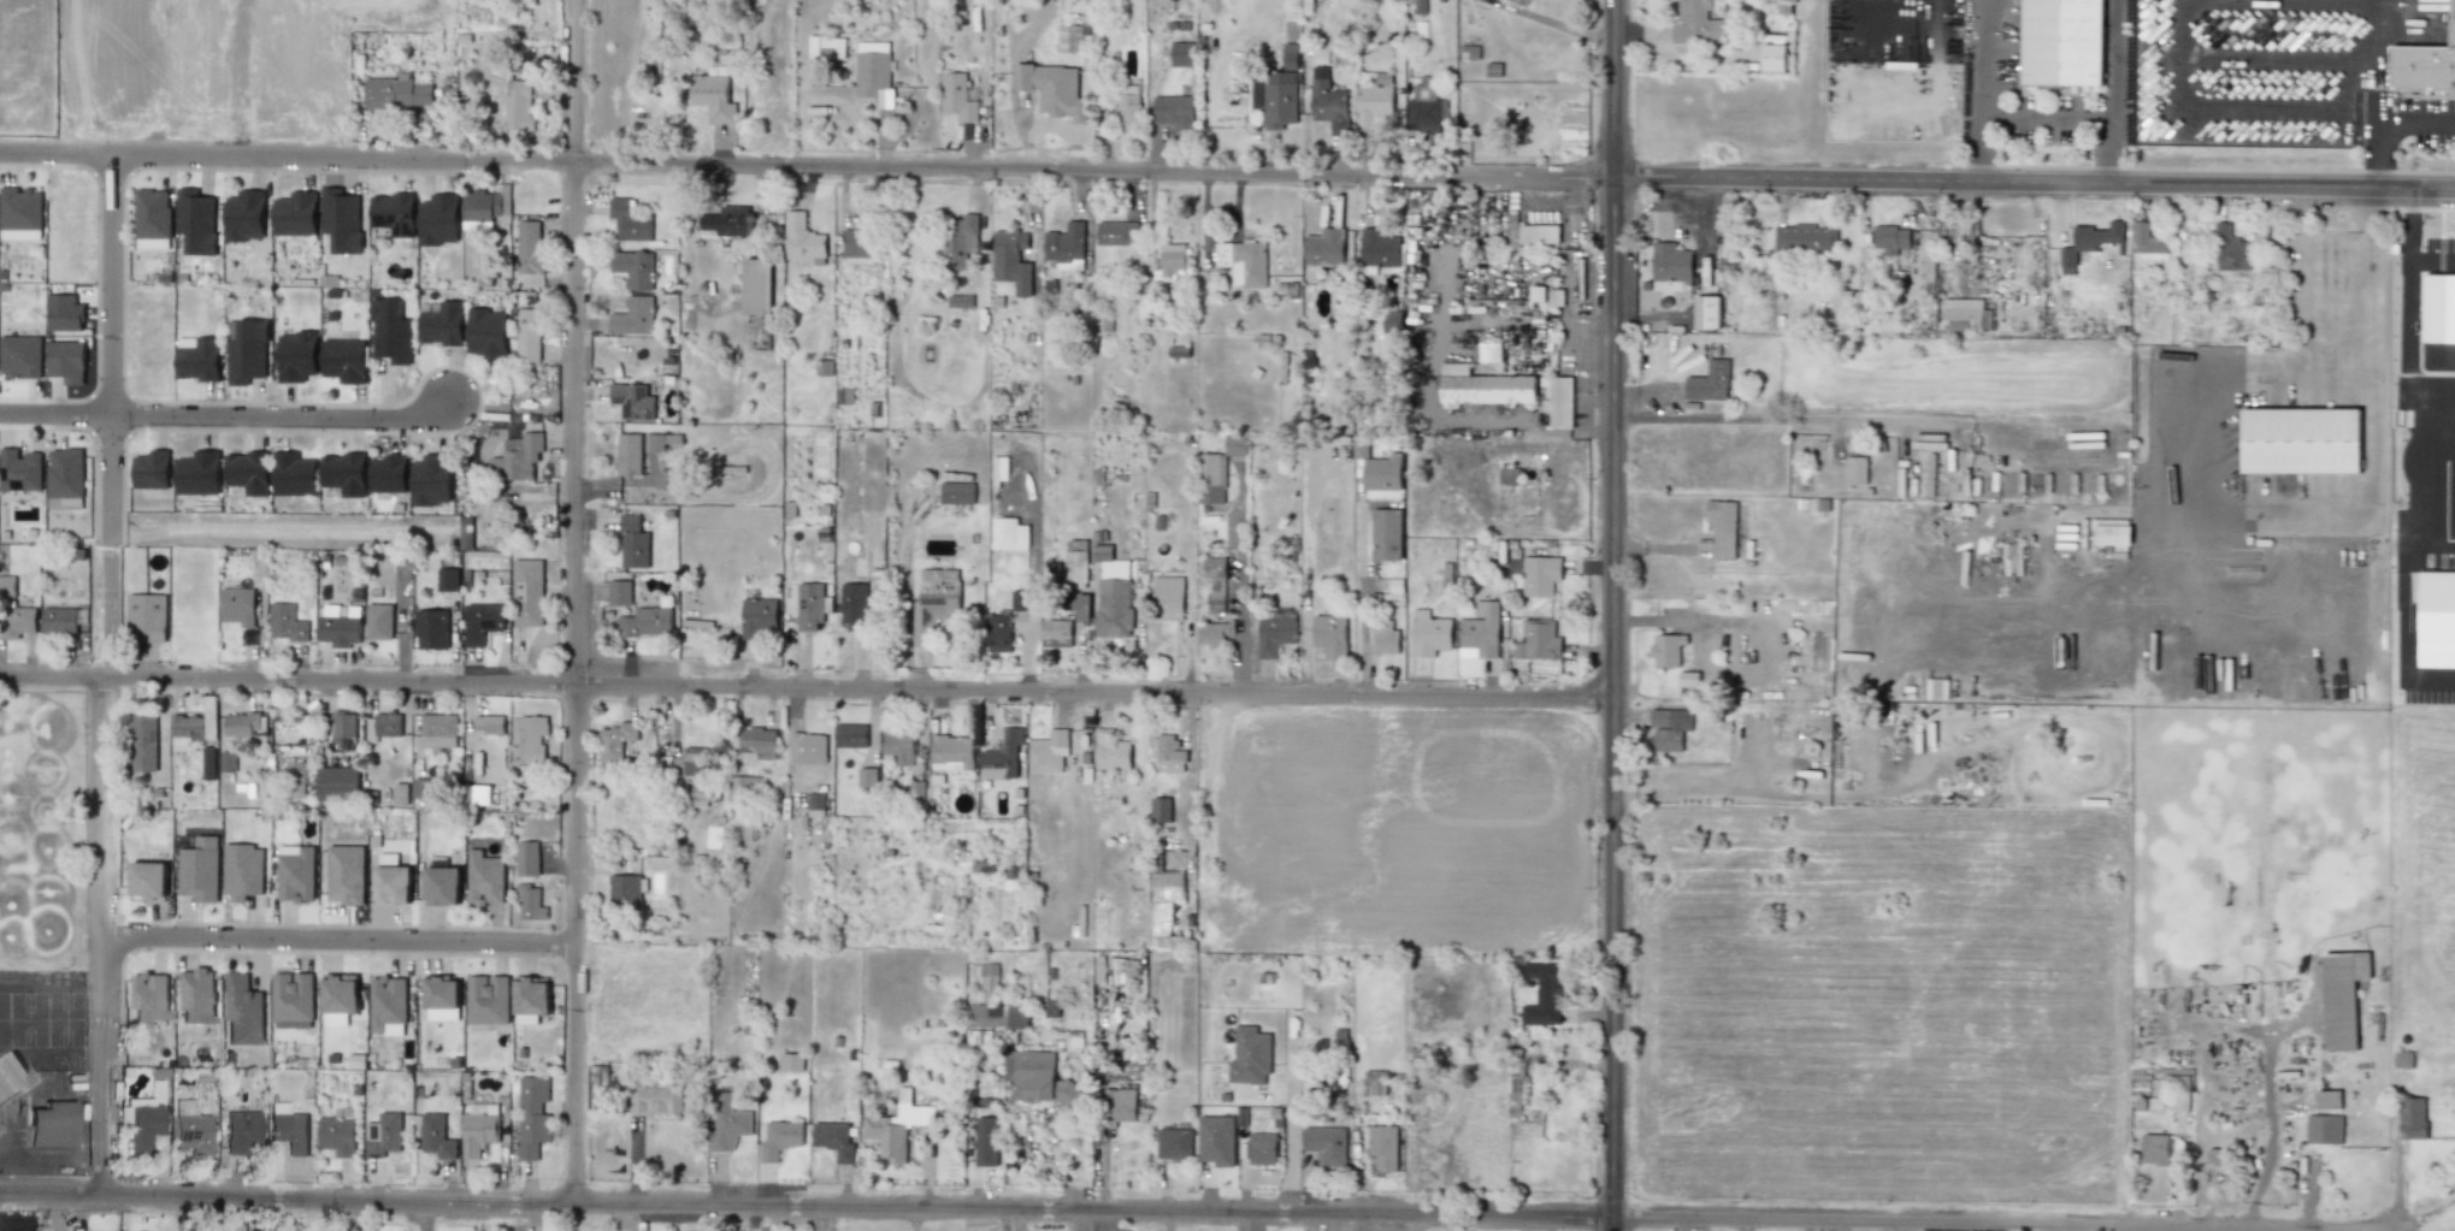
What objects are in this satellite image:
building: (2426, 13)
road: (1556, 22)
building: (1698, 23)
building: (1072, 37)
building: (2062, 42)
building: (836, 45)
road: (2174, 45)
road: (2372, 48)
building: (1181, 53)
building: (1774, 54)
building: (1288, 55)
road: (2271, 55)
road: (1979, 58)
road: (2115, 59)
building: (2425, 65)
building: (869, 75)
road: (2379, 78)
building: (1052, 88)
building: (397, 91)
road: (2260, 93)
building: (713, 96)
building: (956, 96)
building: (1279, 99)
building: (1373, 101)
building: (518, 105)
building: (1128, 106)
building: (1329, 106)
building: (1424, 107)
building: (1174, 111)
road: (2047, 117)
road: (2383, 122)
road: (1979, 148)
road: (2106, 149)
road: (1227, 170)
building: (484, 205)
building: (20, 209)
building: (295, 213)
building: (394, 213)
building: (244, 215)
building: (152, 218)
building: (341, 219)
building: (438, 219)
building: (196, 220)
building: (628, 220)
building: (727, 220)
building: (1116, 232)
building: (1532, 232)
building: (1805, 237)
building: (802, 238)
road: (1218, 238)
building: (1890, 238)
building: (958, 239)
building: (2089, 242)
building: (858, 243)
building: (1066, 245)
building: (530, 247)
building: (1323, 247)
building: (2148, 248)
building: (2231, 249)
building: (1170, 258)
building: (1011, 260)
building: (1243, 261)
building: (1670, 261)
building: (633, 268)
building: (757, 286)
road: (110, 288)
building: (1536, 292)
building: (1841, 308)
building: (1706, 312)
road: (2408, 312)
building: (64, 313)
building: (1965, 314)
building: (633, 315)
building: (1392, 320)
building: (442, 324)
building: (390, 331)
building: (486, 332)
building: (527, 335)
building: (246, 350)
building: (1489, 351)
building: (20, 355)
building: (296, 355)
building: (197, 357)
building: (343, 360)
building: (66, 361)
building: (1710, 381)
road: (2209, 384)
building: (1483, 386)
building: (633, 401)
building: (1558, 401)
road: (54, 415)
road: (277, 418)
road: (1784, 418)
building: (2301, 440)
building: (654, 442)
road: (2436, 443)
building: (1235, 444)
building: (630, 454)
building: (520, 455)
building: (1001, 466)
building: (1377, 467)
building: (19, 469)
building: (152, 469)
building: (1855, 469)
building: (247, 472)
building: (197, 473)
building: (294, 473)
building: (343, 473)
building: (388, 473)
building: (65, 478)
building: (1211, 478)
building: (431, 479)
road: (108, 483)
road: (2418, 489)
building: (957, 492)
road: (2260, 522)
building: (1722, 526)
building: (1009, 533)
building: (1386, 533)
building: (2119, 537)
building: (633, 541)
building: (1214, 566)
building: (1076, 568)
building: (1540, 575)
building: (447, 579)
building: (7, 585)
building: (527, 592)
building: (619, 592)
building: (1113, 593)
building: (1167, 597)
building: (1020, 599)
road: (573, 602)
building: (934, 603)
road: (1359, 603)
building: (810, 604)
building: (237, 605)
building: (854, 605)
road: (1612, 610)
road: (107, 612)
building: (146, 616)
building: (759, 617)
building: (59, 620)
road: (1671, 620)
building: (17, 621)
building: (378, 621)
building: (647, 621)
building: (285, 622)
building: (482, 622)
building: (432, 628)
building: (338, 629)
building: (1481, 629)
building: (1056, 632)
building: (1214, 632)
building: (998, 633)
building: (1274, 633)
building: (1428, 633)
building: (1329, 634)
building: (1385, 637)
building: (1538, 640)
building: (1666, 649)
building: (1688, 679)
road: (805, 685)
building: (1936, 687)
building: (489, 723)
building: (237, 724)
building: (343, 724)
building: (382, 724)
building: (194, 727)
building: (1669, 728)
building: (438, 729)
building: (850, 734)
building: (527, 739)
building: (143, 740)
building: (615, 740)
building: (759, 741)
building: (899, 745)
building: (808, 747)
building: (1111, 750)
building: (1047, 751)
building: (951, 752)
building: (1167, 753)
building: (1002, 756)
building: (225, 761)
building: (694, 761)
building: (207, 763)
building: (867, 776)
building: (338, 782)
building: (744, 785)
building: (424, 787)
road: (1702, 788)
building: (916, 789)
building: (698, 793)
building: (401, 794)
building: (477, 794)
building: (815, 804)
building: (618, 807)
building: (1161, 809)
building: (526, 858)
building: (200, 869)
building: (243, 870)
building: (296, 872)
building: (346, 874)
building: (485, 877)
building: (149, 880)
building: (393, 884)
building: (442, 886)
building: (1165, 886)
building: (624, 889)
building: (530, 902)
road: (105, 939)
road: (338, 940)
building: (989, 975)
building: (1542, 994)
building: (196, 995)
building: (293, 996)
building: (340, 996)
building: (2342, 996)
building: (148, 998)
building: (442, 998)
building: (531, 998)
building: (488, 999)
building: (388, 1005)
building: (242, 1010)
building: (997, 1014)
building: (293, 1024)
building: (1250, 1055)
building: (2402, 1059)
building: (791, 1061)
building: (12, 1075)
building: (1035, 1078)
building: (1375, 1082)
building: (1517, 1089)
building: (655, 1096)
building: (2329, 1099)
building: (1117, 1105)
building: (532, 1115)
building: (2412, 1117)
building: (142, 1121)
building: (727, 1123)
building: (51, 1124)
building: (896, 1126)
building: (287, 1128)
building: (478, 1128)
building: (189, 1129)
building: (2323, 1129)
building: (240, 1131)
building: (337, 1131)
building: (383, 1134)
building: (436, 1136)
building: (779, 1138)
building: (832, 1138)
road: (14, 1140)
building: (1216, 1140)
building: (986, 1141)
building: (1173, 1143)
building: (1326, 1144)
road: (1288, 1147)
building: (1262, 1148)
building: (2155, 1148)
road: (804, 1209)
road: (914, 1221)
road: (1016, 1221)
road: (2436, 1221)
road: (1395, 1225)
road: (1611, 1226)
road: (1901, 1226)

